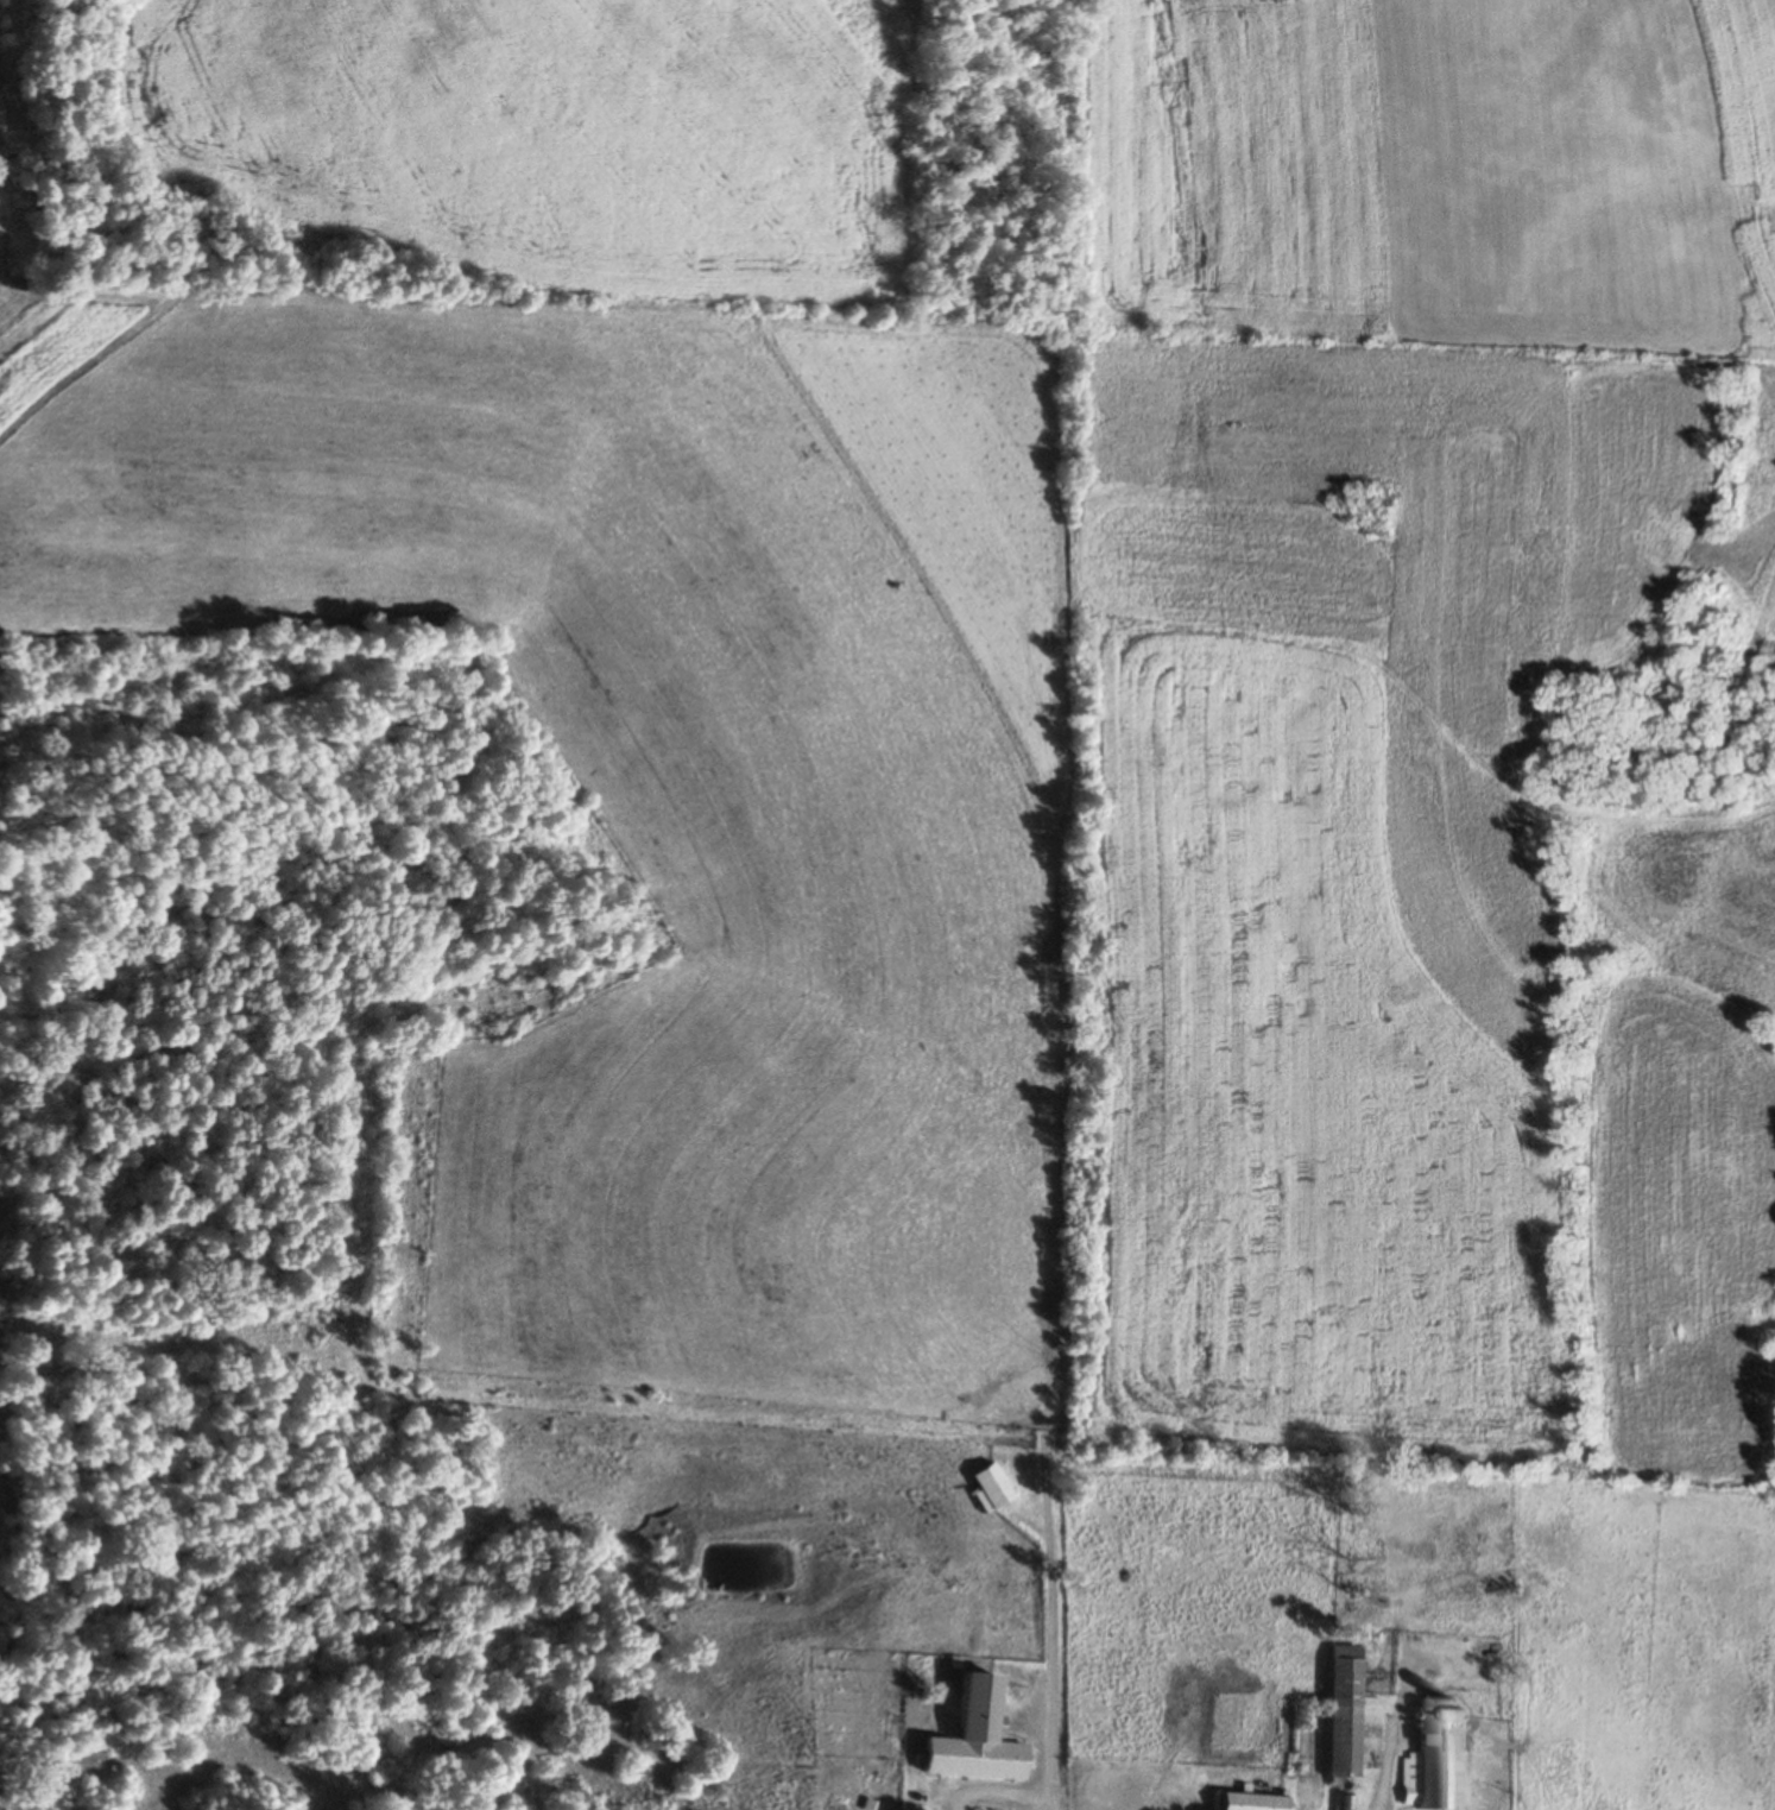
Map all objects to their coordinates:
building: (984, 1489)
building: (1335, 1713)
building: (969, 1738)
building: (1423, 1761)
building: (1245, 1803)
building: (1340, 1803)
road: (1239, 1808)

